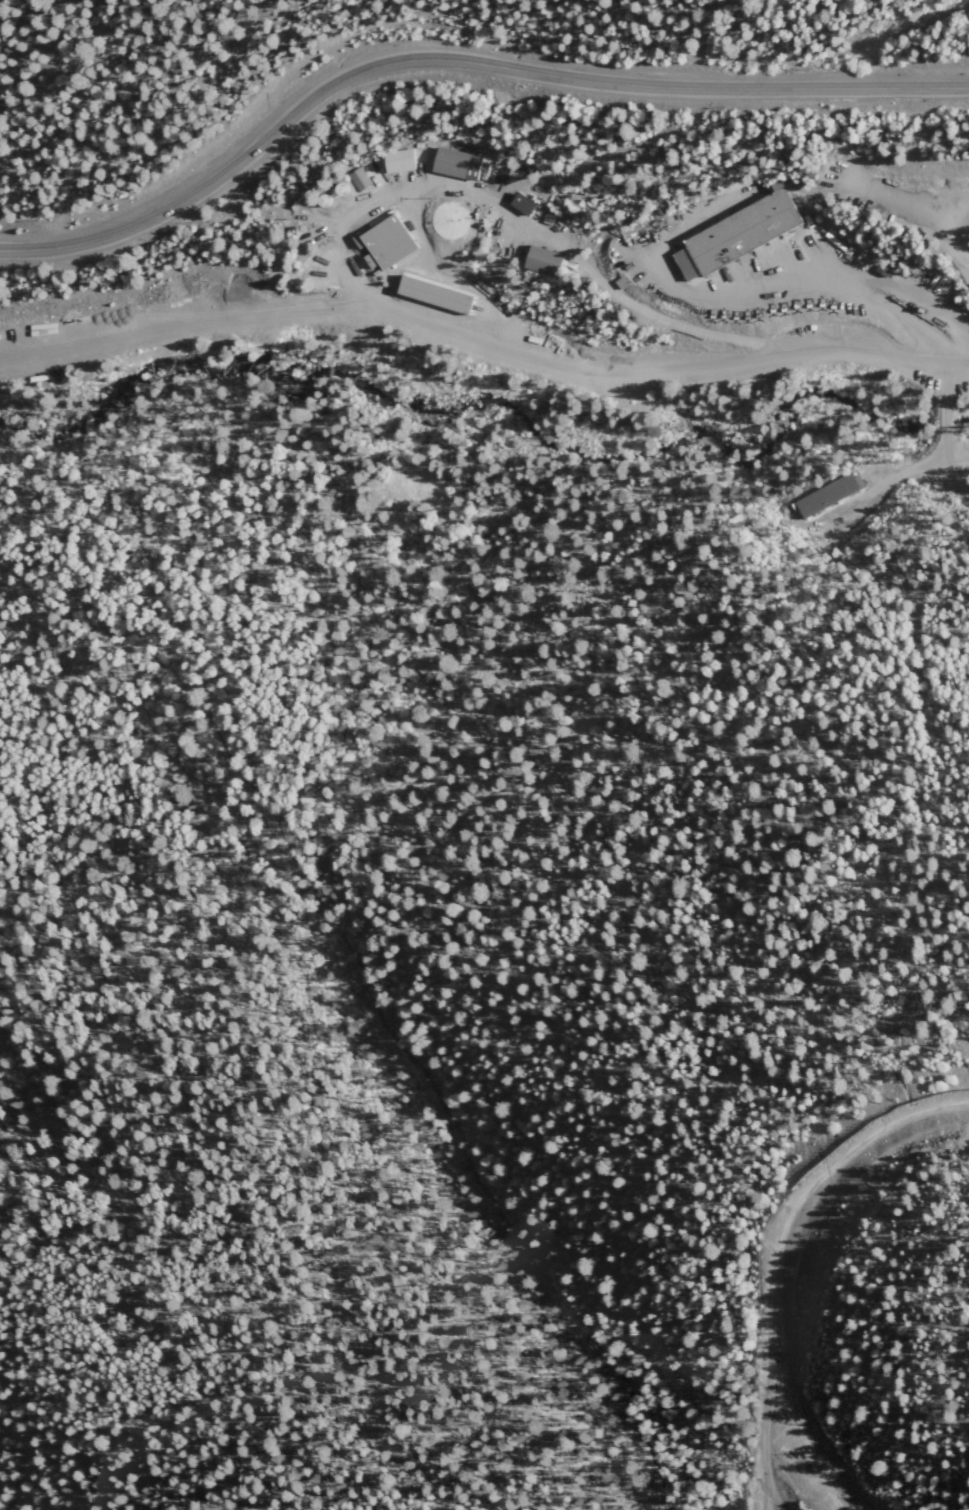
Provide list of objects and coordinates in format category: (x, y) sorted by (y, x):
road: (458, 58)
building: (399, 162)
building: (457, 164)
building: (360, 180)
building: (340, 188)
storage tank: (340, 188)
building: (322, 199)
storage tank: (322, 199)
parking lot: (948, 199)
building: (523, 205)
building: (453, 221)
storage tank: (453, 221)
road: (533, 224)
building: (736, 233)
road: (950, 238)
building: (388, 243)
building: (543, 261)
road: (776, 278)
building: (440, 294)
road: (483, 332)
road: (944, 436)
building: (830, 495)
road: (780, 1255)
ski resort: (842, 1293)
road: (773, 1502)

